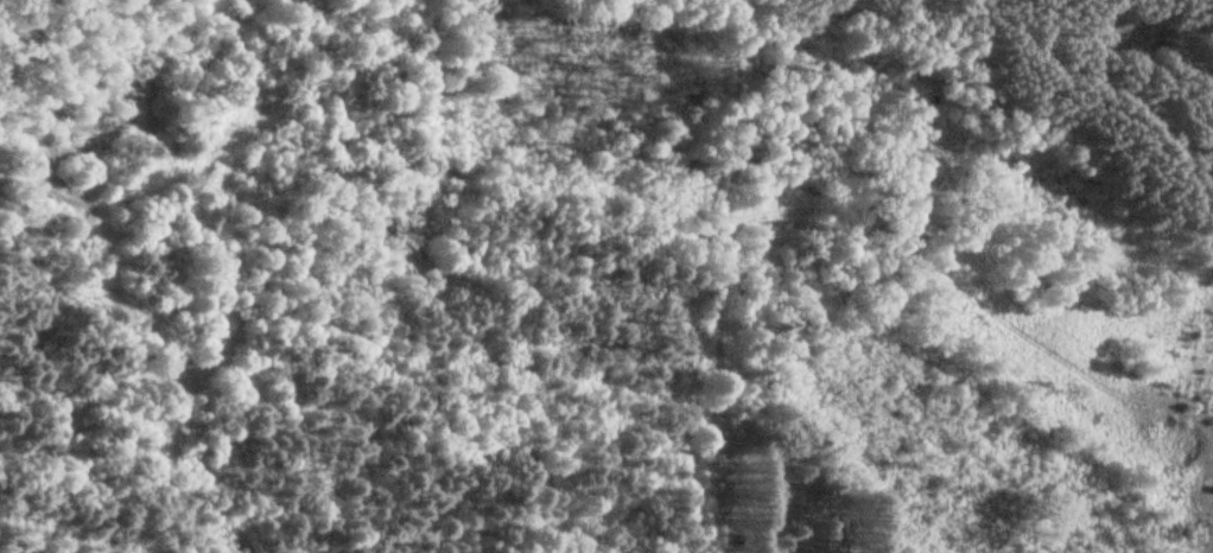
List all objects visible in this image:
road: (725, 394)
park: (805, 492)

